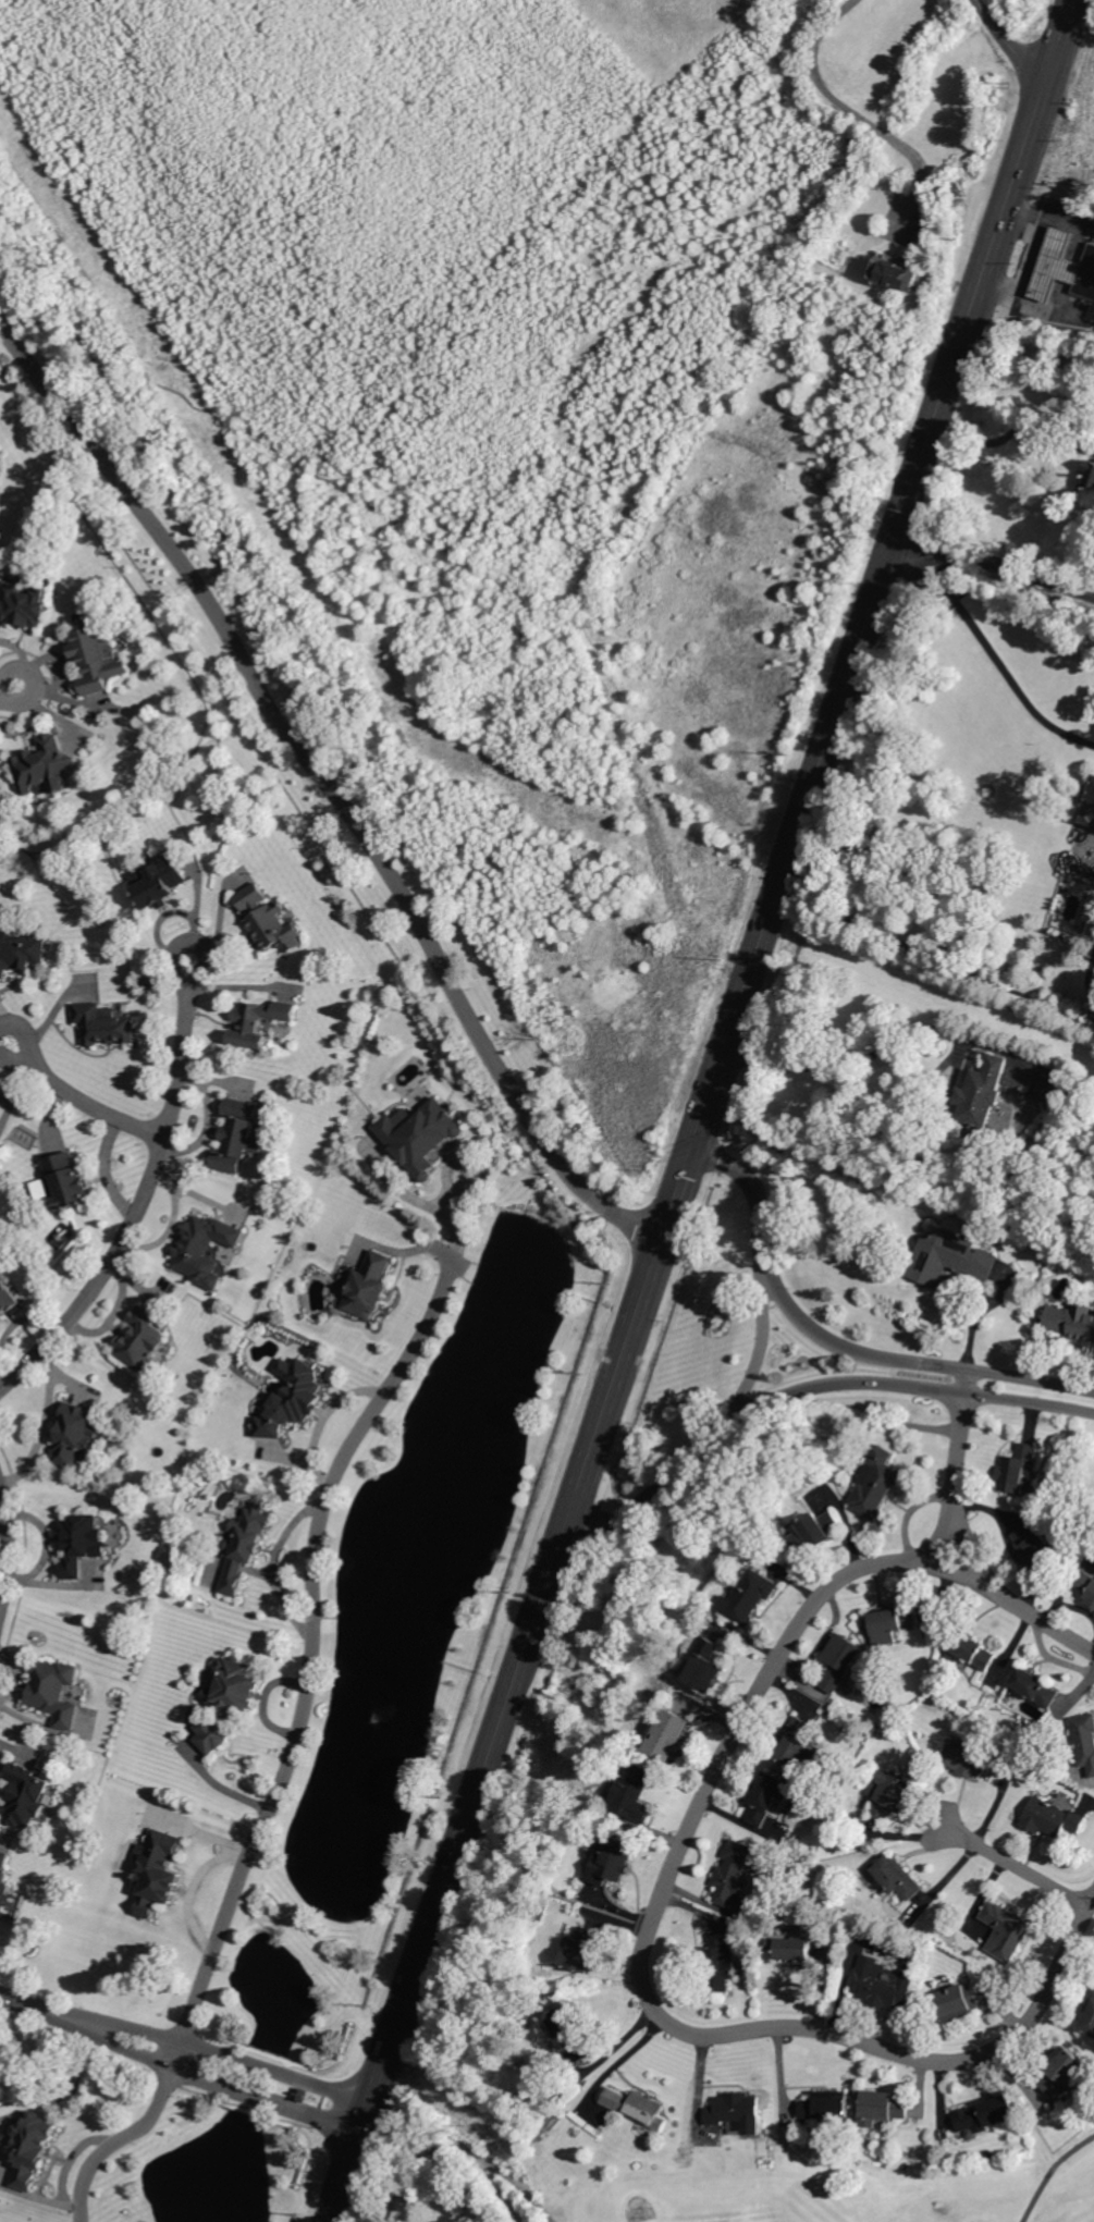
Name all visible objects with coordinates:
road: (1010, 42)
road: (852, 111)
building: (925, 230)
building: (1062, 269)
building: (900, 277)
road: (1018, 430)
building: (1087, 480)
traffic signals: (893, 553)
road: (994, 564)
road: (886, 570)
building: (24, 605)
building: (97, 656)
road: (998, 661)
road: (10, 696)
building: (45, 766)
road: (328, 787)
building: (1090, 811)
building: (159, 883)
building: (269, 920)
building: (21, 953)
building: (258, 1023)
building: (103, 1028)
road: (850, 1065)
building: (1049, 1091)
building: (984, 1092)
road: (82, 1100)
building: (420, 1135)
building: (237, 1138)
traffic signals: (696, 1141)
building: (67, 1181)
road: (144, 1199)
building: (204, 1250)
building: (951, 1259)
building: (369, 1287)
road: (779, 1289)
building: (8, 1297)
road: (980, 1313)
building: (1072, 1322)
road: (631, 1330)
building: (140, 1339)
road: (760, 1345)
road: (1016, 1373)
road: (947, 1384)
road: (1029, 1397)
building: (293, 1400)
building: (262, 1409)
road: (324, 1417)
road: (735, 1417)
building: (74, 1435)
road: (957, 1468)
building: (1017, 1469)
building: (878, 1483)
building: (816, 1532)
building: (82, 1544)
building: (245, 1546)
road: (8, 1547)
building: (1036, 1548)
building: (1086, 1585)
building: (753, 1596)
building: (893, 1623)
building: (968, 1653)
building: (839, 1664)
building: (706, 1667)
building: (1033, 1687)
building: (54, 1692)
building: (229, 1704)
building: (669, 1736)
building: (1084, 1741)
building: (796, 1742)
road: (294, 1752)
building: (970, 1759)
building: (638, 1792)
building: (889, 1794)
building: (26, 1796)
building: (767, 1797)
building: (1052, 1818)
building: (614, 1862)
road: (1020, 1867)
building: (732, 1870)
building: (157, 1871)
road: (451, 1871)
building: (4, 1874)
building: (897, 1877)
road: (661, 1903)
building: (1007, 1929)
building: (790, 1948)
building: (583, 1952)
building: (721, 1963)
park: (896, 1966)
building: (881, 1984)
building: (957, 2001)
building: (1089, 2017)
building: (573, 2030)
road: (184, 2055)
building: (1065, 2071)
building: (549, 2086)
building: (826, 2104)
building: (883, 2108)
building: (638, 2109)
building: (736, 2113)
building: (986, 2114)
road: (457, 2147)
building: (32, 2148)
road: (1048, 2170)
road: (520, 2192)

